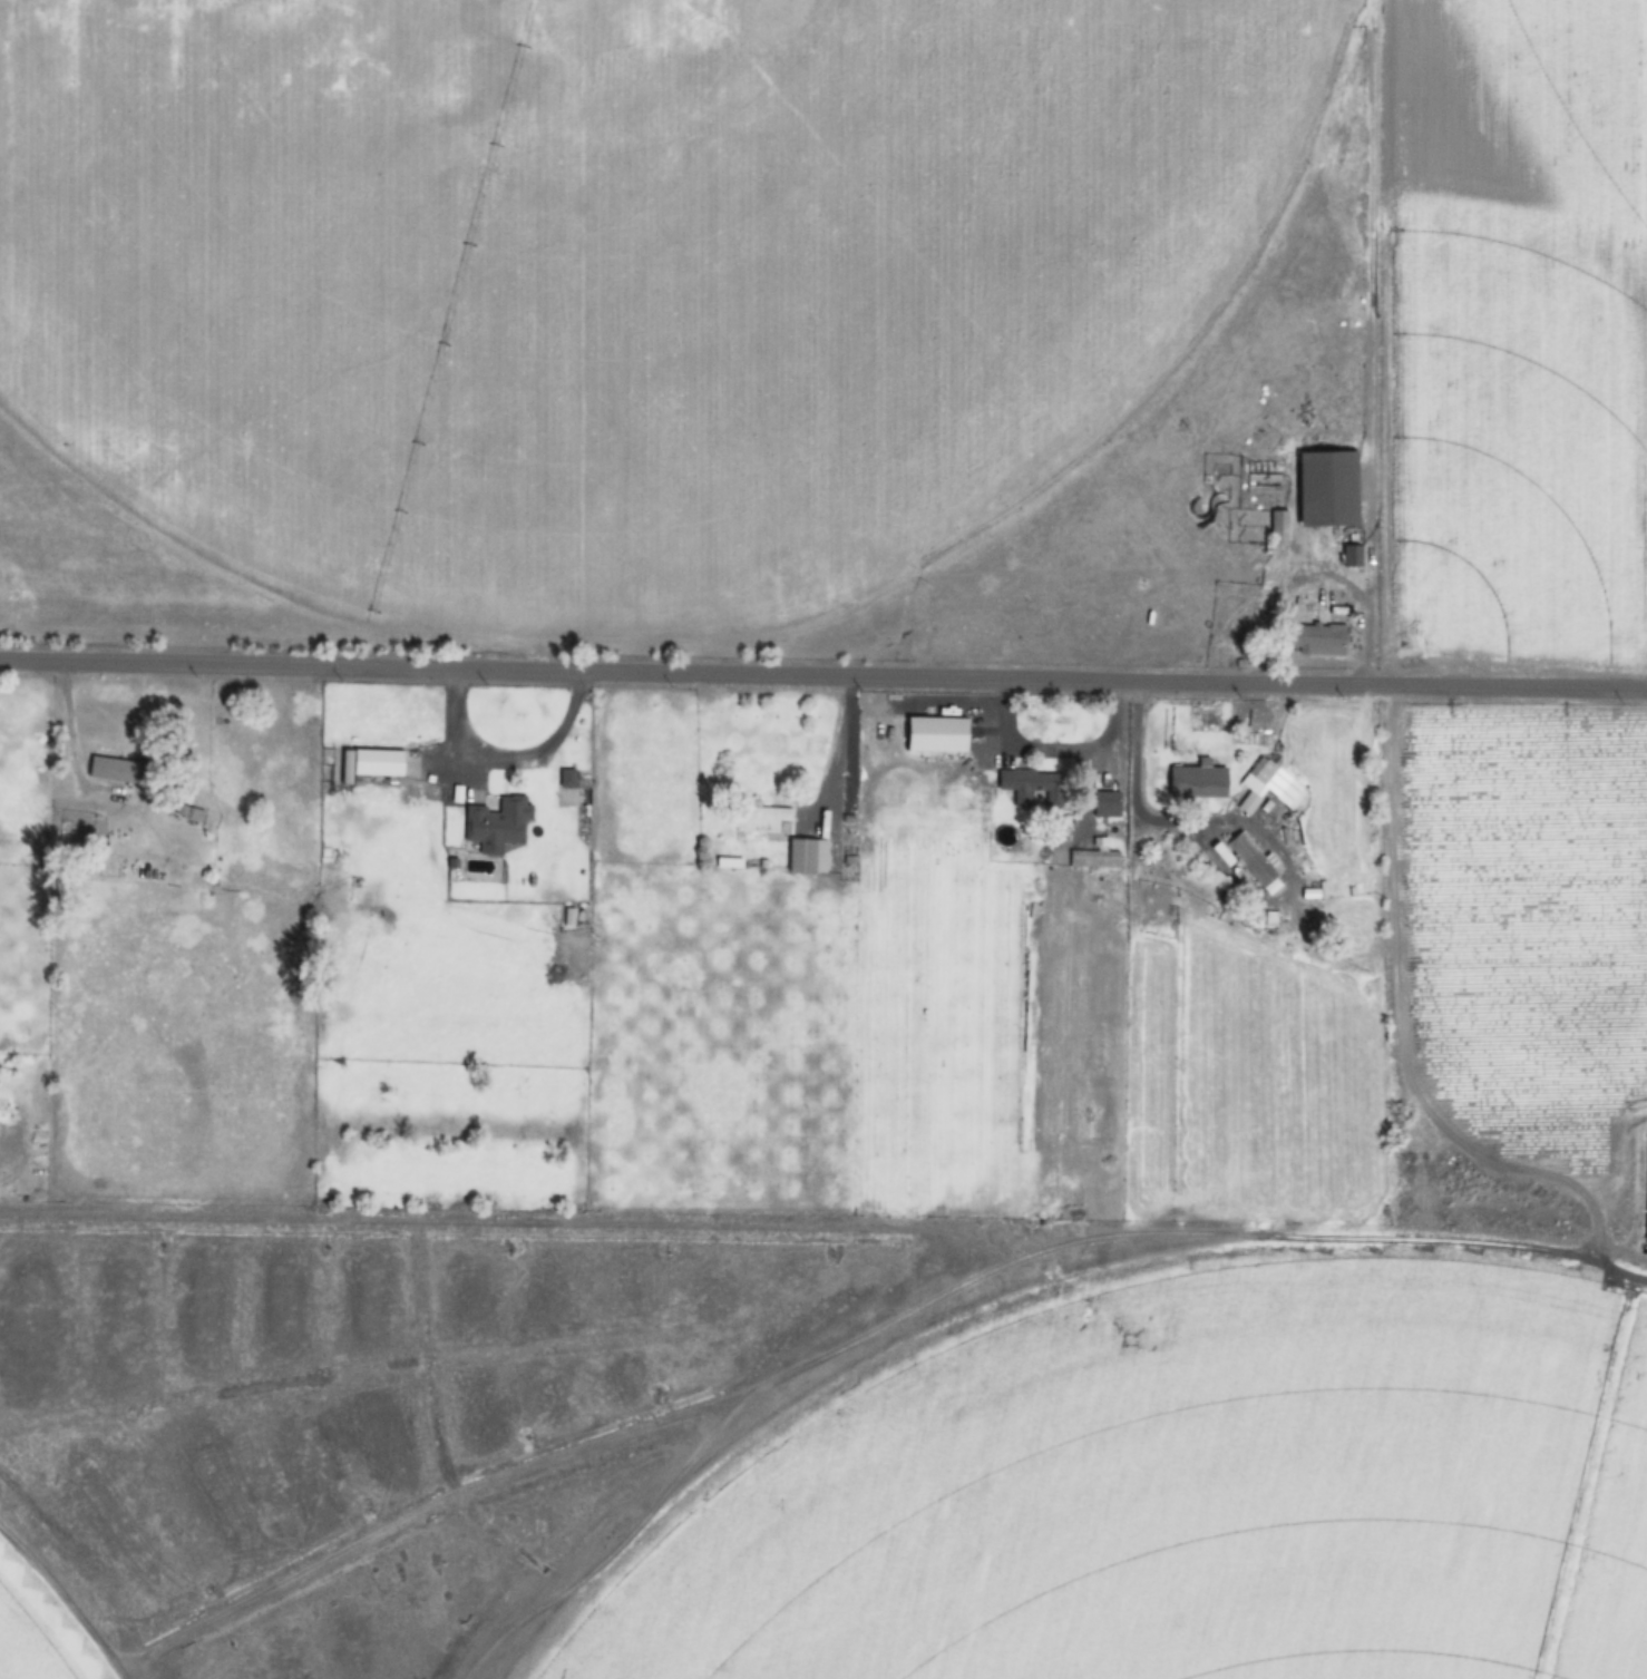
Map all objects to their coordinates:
crop: (1579, 95)
crop: (611, 273)
crop: (1512, 467)
building: (1327, 490)
building: (1277, 528)
building: (1036, 544)
building: (884, 637)
building: (1317, 640)
road: (823, 667)
building: (936, 735)
building: (376, 763)
building: (116, 769)
building: (566, 778)
building: (1275, 782)
building: (1032, 788)
building: (1195, 788)
building: (1105, 804)
building: (194, 814)
building: (759, 819)
building: (494, 824)
building: (801, 856)
building: (1092, 859)
building: (1246, 860)
crop: (1526, 915)
building: (1407, 1367)
crop: (1189, 1495)
building: (1453, 1551)
crop: (37, 1639)

